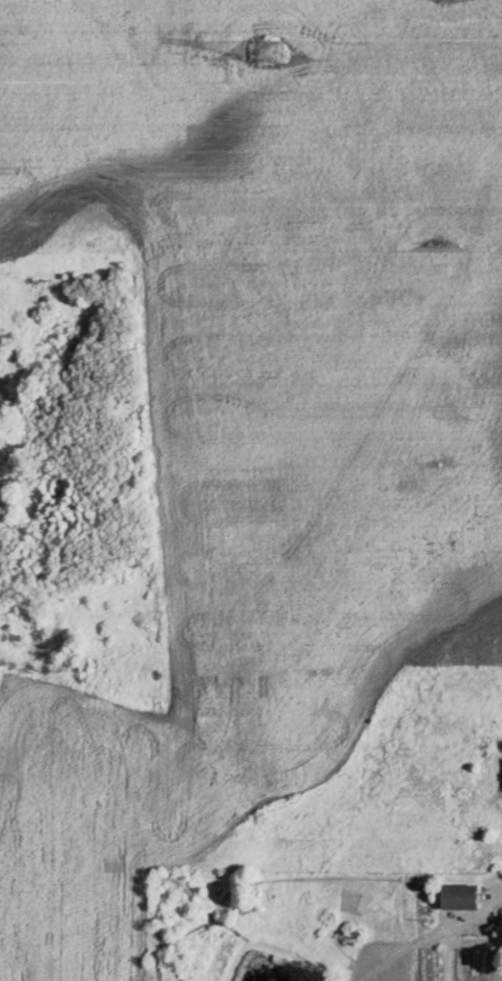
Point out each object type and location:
power tower: (264, 49)
building: (452, 897)

